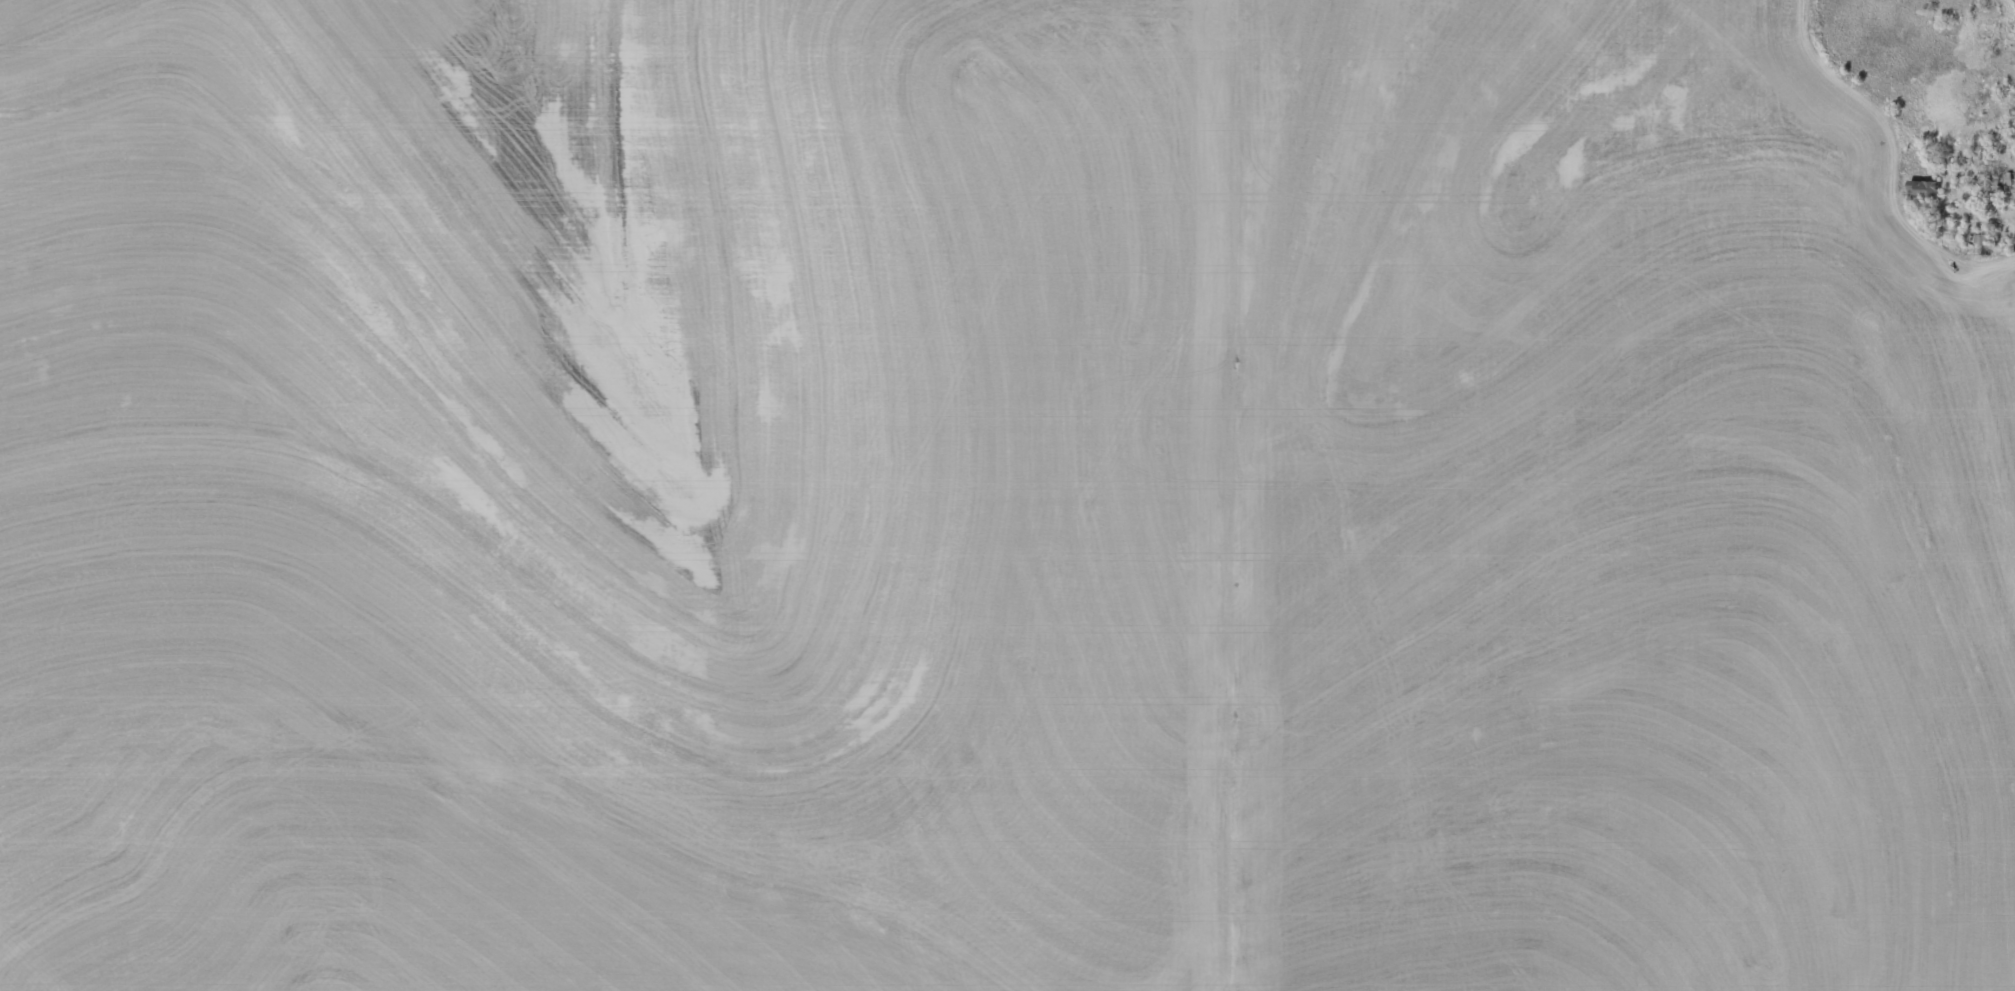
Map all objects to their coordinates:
building: (1922, 188)

